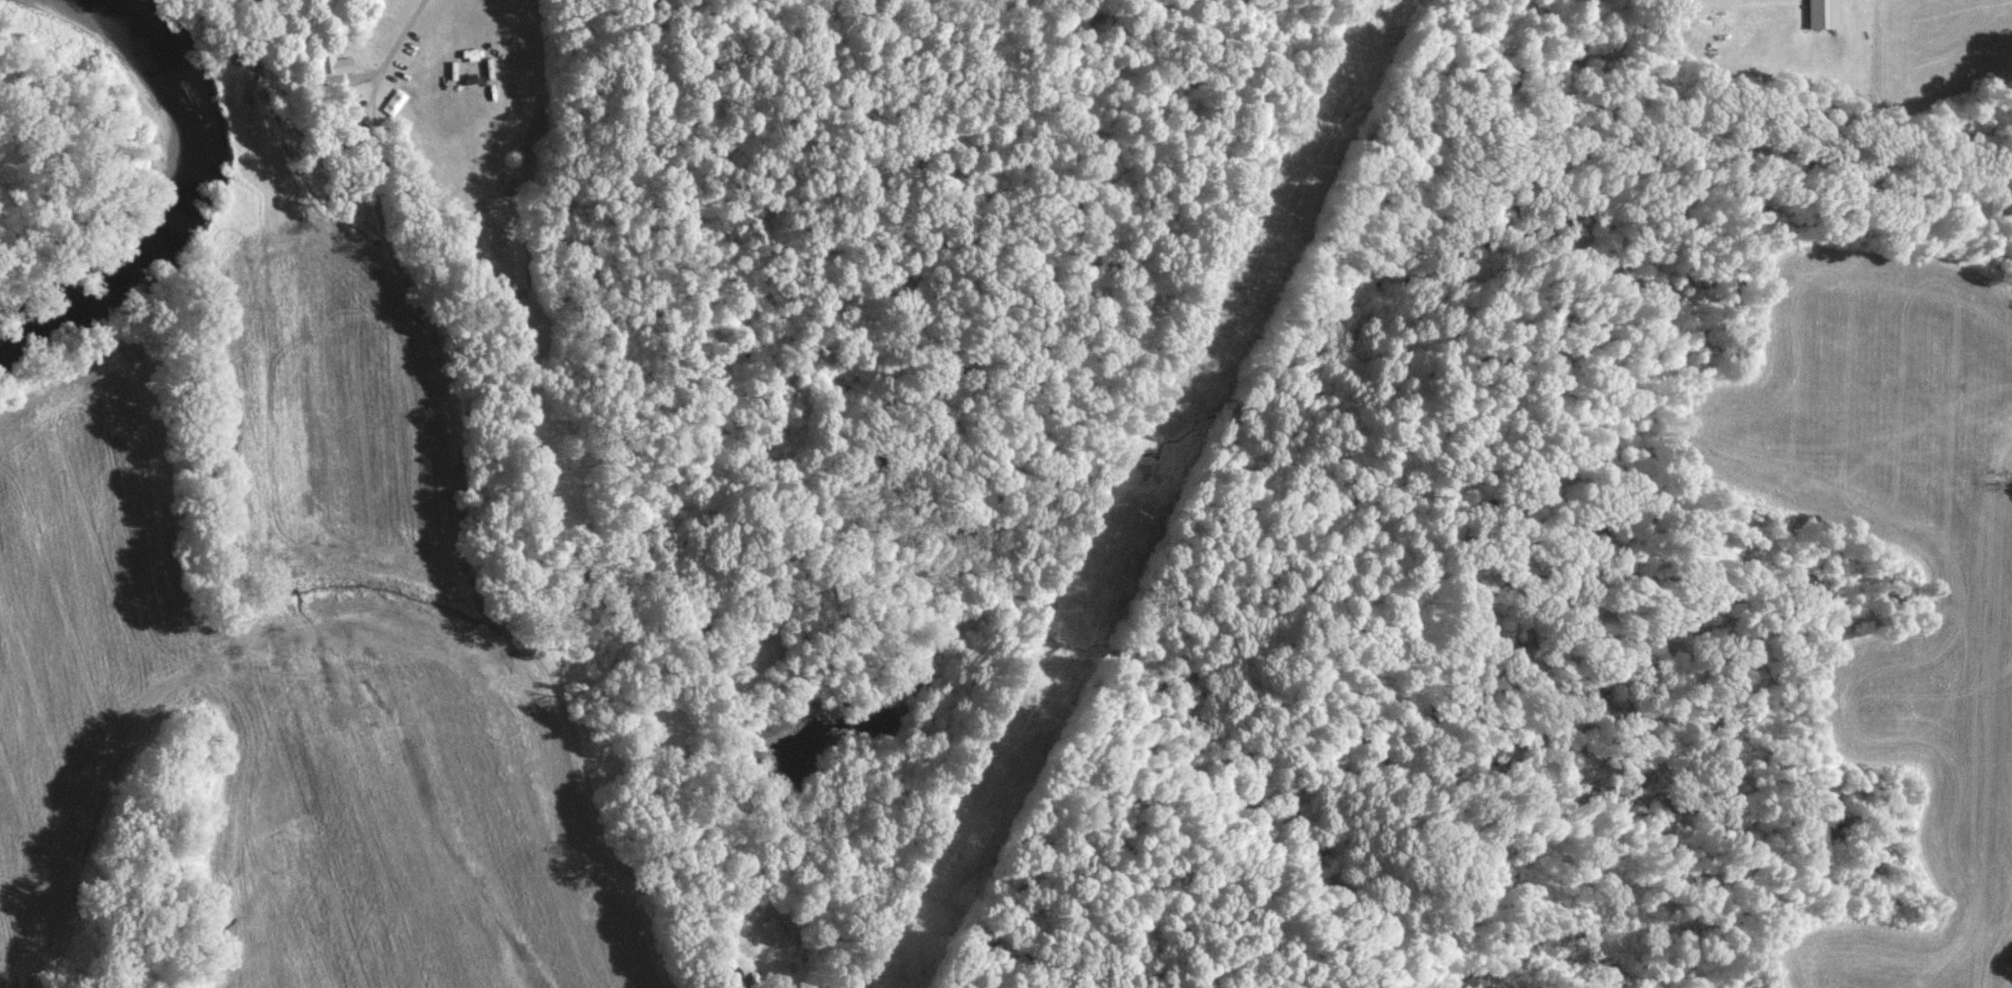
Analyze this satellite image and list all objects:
building: (1822, 13)
road: (401, 38)
building: (343, 64)
river: (194, 184)
power tower: (1283, 214)
power tower: (1138, 514)
building: (774, 928)

